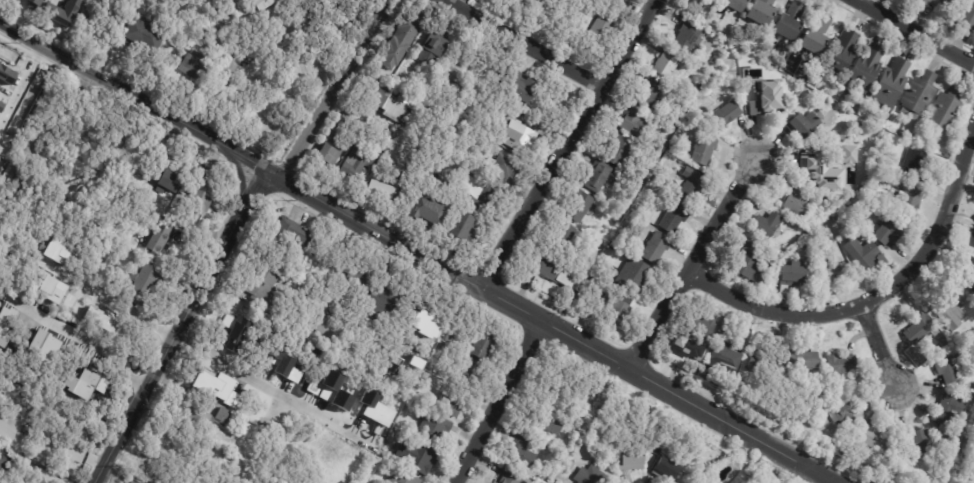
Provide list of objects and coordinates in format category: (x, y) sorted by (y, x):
building: (710, 0)
building: (936, 2)
building: (34, 4)
building: (264, 4)
building: (278, 4)
building: (732, 5)
building: (62, 12)
building: (758, 13)
building: (965, 14)
building: (786, 24)
road: (914, 32)
building: (597, 35)
building: (148, 37)
building: (812, 38)
building: (684, 39)
building: (397, 43)
road: (521, 44)
building: (427, 53)
building: (731, 54)
building: (840, 54)
building: (664, 65)
building: (198, 70)
building: (454, 70)
building: (864, 70)
building: (890, 84)
building: (0, 85)
road: (22, 85)
building: (516, 86)
road: (333, 87)
building: (647, 94)
road: (133, 96)
building: (917, 97)
building: (764, 105)
building: (385, 106)
building: (944, 111)
building: (497, 112)
building: (558, 113)
building: (722, 116)
building: (632, 123)
building: (672, 123)
building: (801, 126)
building: (5, 132)
building: (904, 133)
building: (518, 136)
building: (888, 139)
road: (566, 142)
building: (688, 144)
building: (330, 147)
building: (375, 149)
building: (671, 150)
building: (702, 151)
building: (619, 154)
building: (642, 155)
building: (944, 157)
building: (352, 163)
building: (808, 163)
building: (916, 164)
building: (502, 168)
road: (240, 177)
building: (596, 177)
building: (19, 179)
building: (852, 183)
building: (174, 186)
building: (691, 189)
building: (376, 192)
building: (474, 196)
building: (202, 198)
building: (903, 199)
building: (795, 203)
building: (577, 207)
building: (419, 215)
building: (672, 218)
building: (617, 220)
building: (765, 225)
building: (967, 225)
building: (461, 228)
building: (888, 233)
building: (561, 235)
building: (817, 235)
building: (293, 236)
building: (159, 238)
building: (973, 245)
building: (653, 250)
building: (771, 250)
building: (57, 251)
building: (861, 254)
road: (690, 263)
building: (746, 264)
building: (768, 266)
building: (544, 271)
building: (792, 274)
building: (967, 276)
building: (565, 277)
building: (634, 277)
building: (829, 277)
building: (147, 278)
building: (360, 278)
building: (810, 279)
building: (265, 287)
building: (51, 289)
road: (875, 297)
building: (390, 299)
road: (116, 302)
building: (949, 308)
building: (5, 323)
building: (425, 323)
road: (549, 324)
road: (179, 325)
building: (113, 327)
building: (698, 329)
building: (41, 330)
building: (918, 330)
building: (332, 331)
building: (240, 336)
road: (94, 340)
building: (454, 341)
building: (47, 344)
building: (487, 346)
road: (880, 348)
building: (939, 348)
building: (25, 353)
building: (724, 359)
building: (802, 360)
building: (276, 361)
building: (760, 365)
building: (839, 366)
building: (949, 370)
building: (471, 374)
building: (293, 375)
building: (701, 375)
building: (582, 378)
building: (70, 380)
road: (264, 382)
building: (215, 386)
building: (739, 389)
building: (336, 390)
road: (497, 401)
building: (411, 403)
building: (452, 405)
building: (54, 407)
building: (375, 409)
building: (947, 411)
building: (22, 412)
building: (194, 413)
building: (844, 414)
building: (227, 416)
building: (874, 417)
building: (556, 423)
building: (436, 430)
building: (550, 438)
building: (870, 441)
building: (951, 442)
building: (963, 442)
building: (830, 444)
building: (917, 445)
building: (171, 449)
building: (523, 452)
building: (4, 458)
building: (418, 458)
building: (633, 458)
building: (888, 460)
building: (669, 470)
building: (886, 473)
building: (593, 476)
building: (44, 477)
building: (516, 477)
building: (404, 478)
building: (133, 481)
building: (561, 482)

